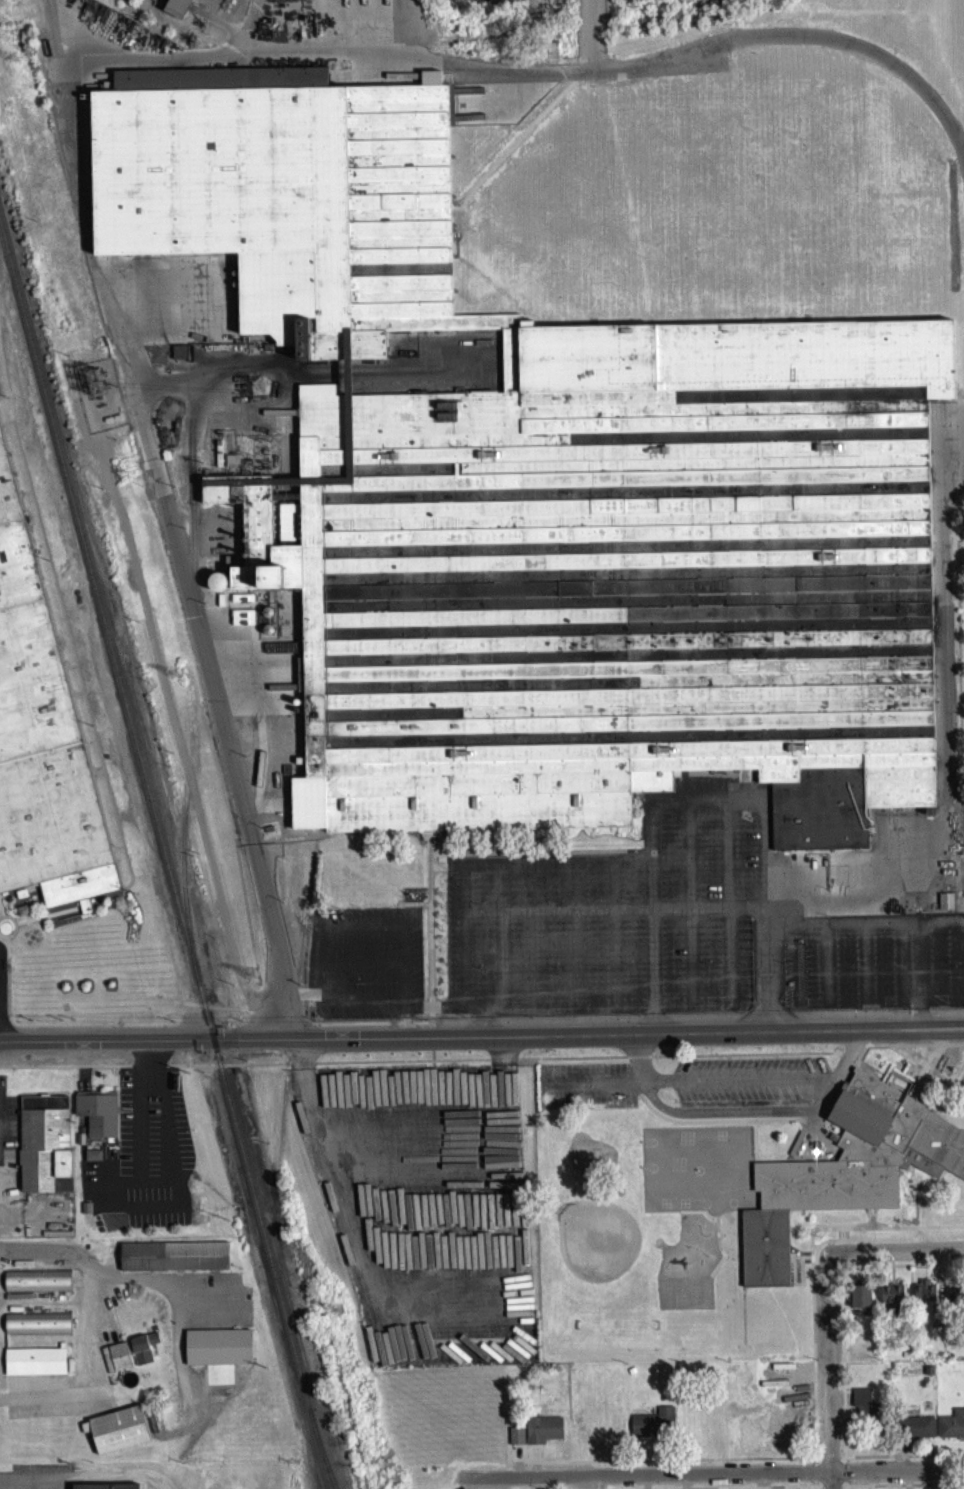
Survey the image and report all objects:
building: (495, 4)
building: (175, 7)
road: (255, 27)
road: (410, 31)
road: (51, 37)
road: (590, 38)
power tower: (13, 55)
road: (576, 80)
road: (57, 87)
parking lot: (492, 107)
road: (512, 110)
road: (511, 150)
building: (175, 356)
road: (286, 361)
road: (229, 372)
road: (397, 375)
power substation: (100, 400)
road: (190, 456)
power substation: (243, 459)
building: (545, 502)
railway: (93, 595)
building: (223, 595)
building: (242, 622)
building: (265, 625)
power tower: (174, 671)
road: (947, 729)
building: (41, 744)
road: (660, 810)
parking lot: (962, 850)
road: (525, 857)
road: (689, 857)
road: (726, 857)
road: (760, 859)
road: (575, 868)
road: (434, 870)
road: (430, 871)
railway: (181, 887)
road: (612, 890)
building: (20, 898)
building: (947, 899)
road: (0, 900)
road: (41, 903)
road: (412, 909)
road: (674, 912)
building: (23, 915)
parking lot: (628, 917)
road: (0, 920)
road: (45, 920)
road: (25, 923)
road: (461, 923)
road: (37, 925)
road: (865, 927)
road: (336, 929)
road: (13, 932)
road: (27, 932)
road: (27, 934)
road: (428, 938)
road: (26, 940)
road: (576, 940)
road: (538, 942)
road: (1, 944)
road: (5, 952)
road: (728, 961)
road: (690, 962)
road: (505, 963)
road: (613, 963)
parking lot: (873, 967)
road: (361, 968)
parking lot: (364, 968)
road: (864, 969)
road: (826, 970)
road: (793, 971)
road: (651, 976)
power tower: (250, 979)
road: (915, 980)
parking lot: (1, 985)
road: (300, 998)
road: (940, 1009)
road: (855, 1011)
road: (210, 1012)
road: (690, 1012)
road: (577, 1013)
road: (495, 1015)
road: (474, 1016)
road: (280, 1023)
road: (430, 1027)
road: (369, 1028)
road: (486, 1029)
road: (587, 1040)
road: (430, 1044)
road: (926, 1045)
road: (105, 1046)
road: (929, 1047)
road: (906, 1048)
road: (909, 1050)
road: (944, 1050)
road: (839, 1058)
road: (849, 1058)
road: (848, 1059)
road: (938, 1061)
road: (487, 1063)
road: (624, 1063)
road: (640, 1063)
road: (431, 1064)
road: (501, 1064)
road: (149, 1065)
road: (283, 1070)
road: (129, 1071)
road: (146, 1071)
road: (64, 1072)
road: (164, 1072)
road: (924, 1075)
road: (912, 1084)
parking lot: (678, 1086)
road: (687, 1086)
road: (842, 1088)
road: (843, 1090)
road: (777, 1097)
road: (786, 1097)
road: (742, 1117)
building: (97, 1119)
road: (814, 1121)
road: (715, 1126)
road: (829, 1128)
building: (79, 1134)
building: (79, 1143)
road: (754, 1146)
building: (44, 1150)
road: (325, 1155)
building: (92, 1161)
road: (787, 1163)
road: (795, 1165)
building: (846, 1174)
road: (106, 1185)
road: (152, 1185)
road: (137, 1200)
building: (85, 1213)
parking lot: (424, 1213)
road: (143, 1215)
road: (707, 1219)
road: (864, 1220)
road: (31, 1222)
road: (347, 1225)
railway: (258, 1226)
road: (860, 1229)
road: (877, 1229)
road: (843, 1230)
road: (870, 1231)
road: (715, 1232)
road: (903, 1242)
road: (862, 1245)
road: (894, 1256)
building: (173, 1261)
road: (716, 1270)
road: (812, 1270)
road: (810, 1272)
building: (36, 1285)
road: (800, 1289)
road: (162, 1290)
building: (923, 1296)
building: (955, 1297)
building: (890, 1298)
building: (859, 1300)
power tower: (338, 1308)
building: (936, 1321)
building: (36, 1328)
road: (88, 1334)
road: (378, 1349)
building: (142, 1352)
building: (217, 1352)
building: (118, 1360)
building: (106, 1365)
building: (34, 1366)
road: (840, 1366)
road: (828, 1376)
building: (860, 1407)
building: (153, 1425)
building: (653, 1427)
building: (951, 1429)
building: (916, 1431)
building: (783, 1433)
building: (116, 1434)
building: (542, 1434)
building: (515, 1440)
road: (827, 1462)
road: (844, 1462)
road: (672, 1464)
road: (515, 1465)
railway: (326, 1466)
street lamp: (70, 1468)
road: (519, 1468)
road: (79, 1475)
road: (844, 1476)
road: (117, 1477)
road: (710, 1478)
road: (814, 1478)
parking lot: (37, 1479)
road: (35, 1481)
road: (18, 1485)
road: (815, 1487)
road: (845, 1487)
building: (129, 1488)

